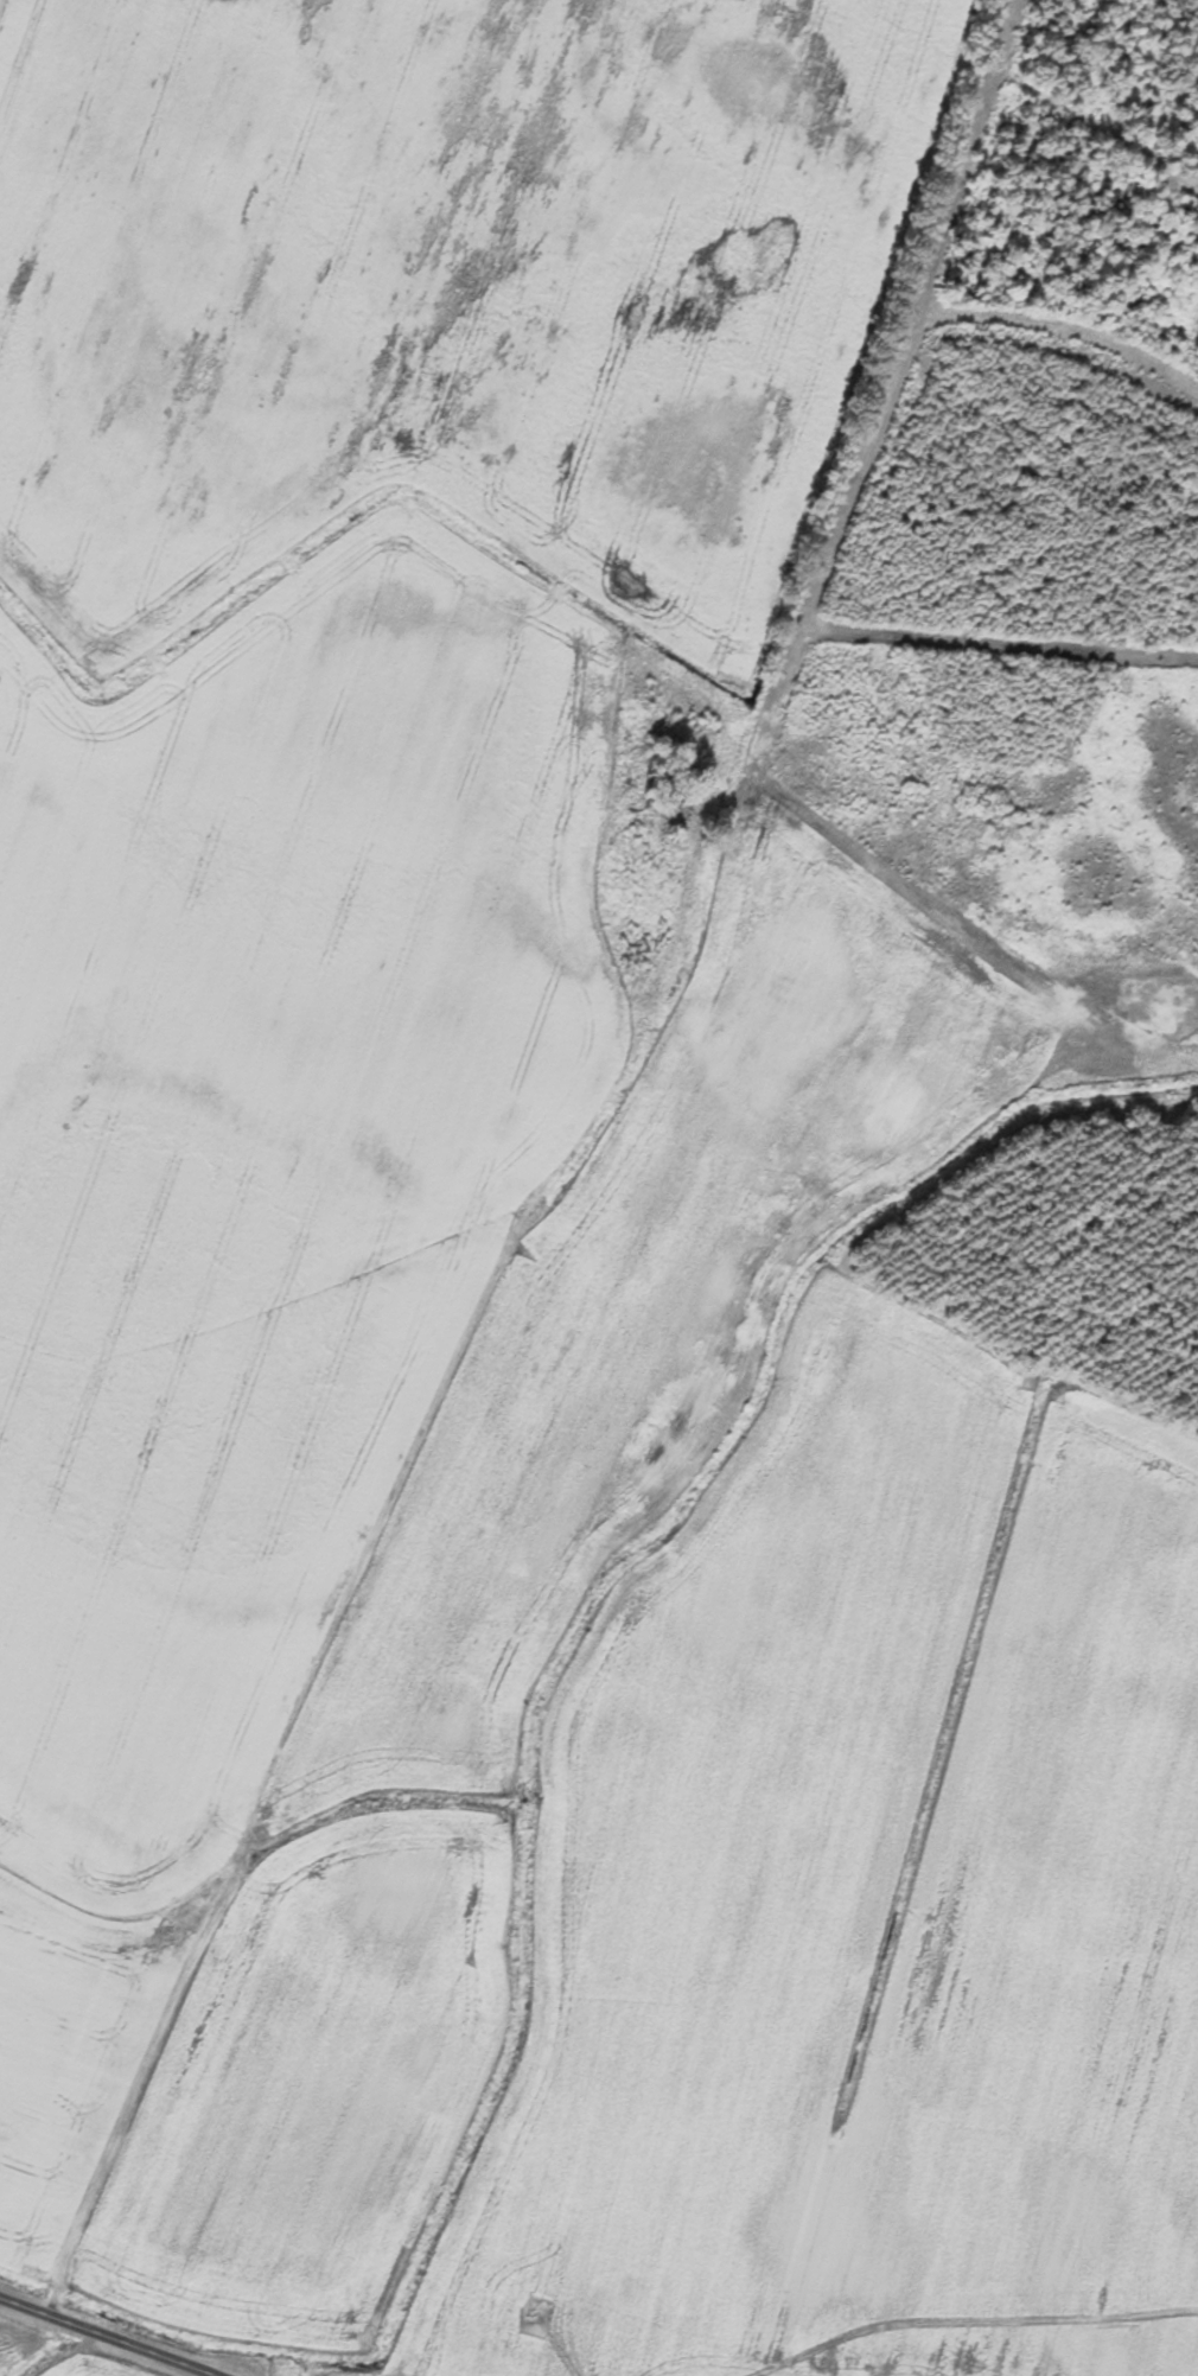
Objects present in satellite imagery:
power tower: (1102, 2299)
power tower: (546, 2313)
road: (102, 2338)

